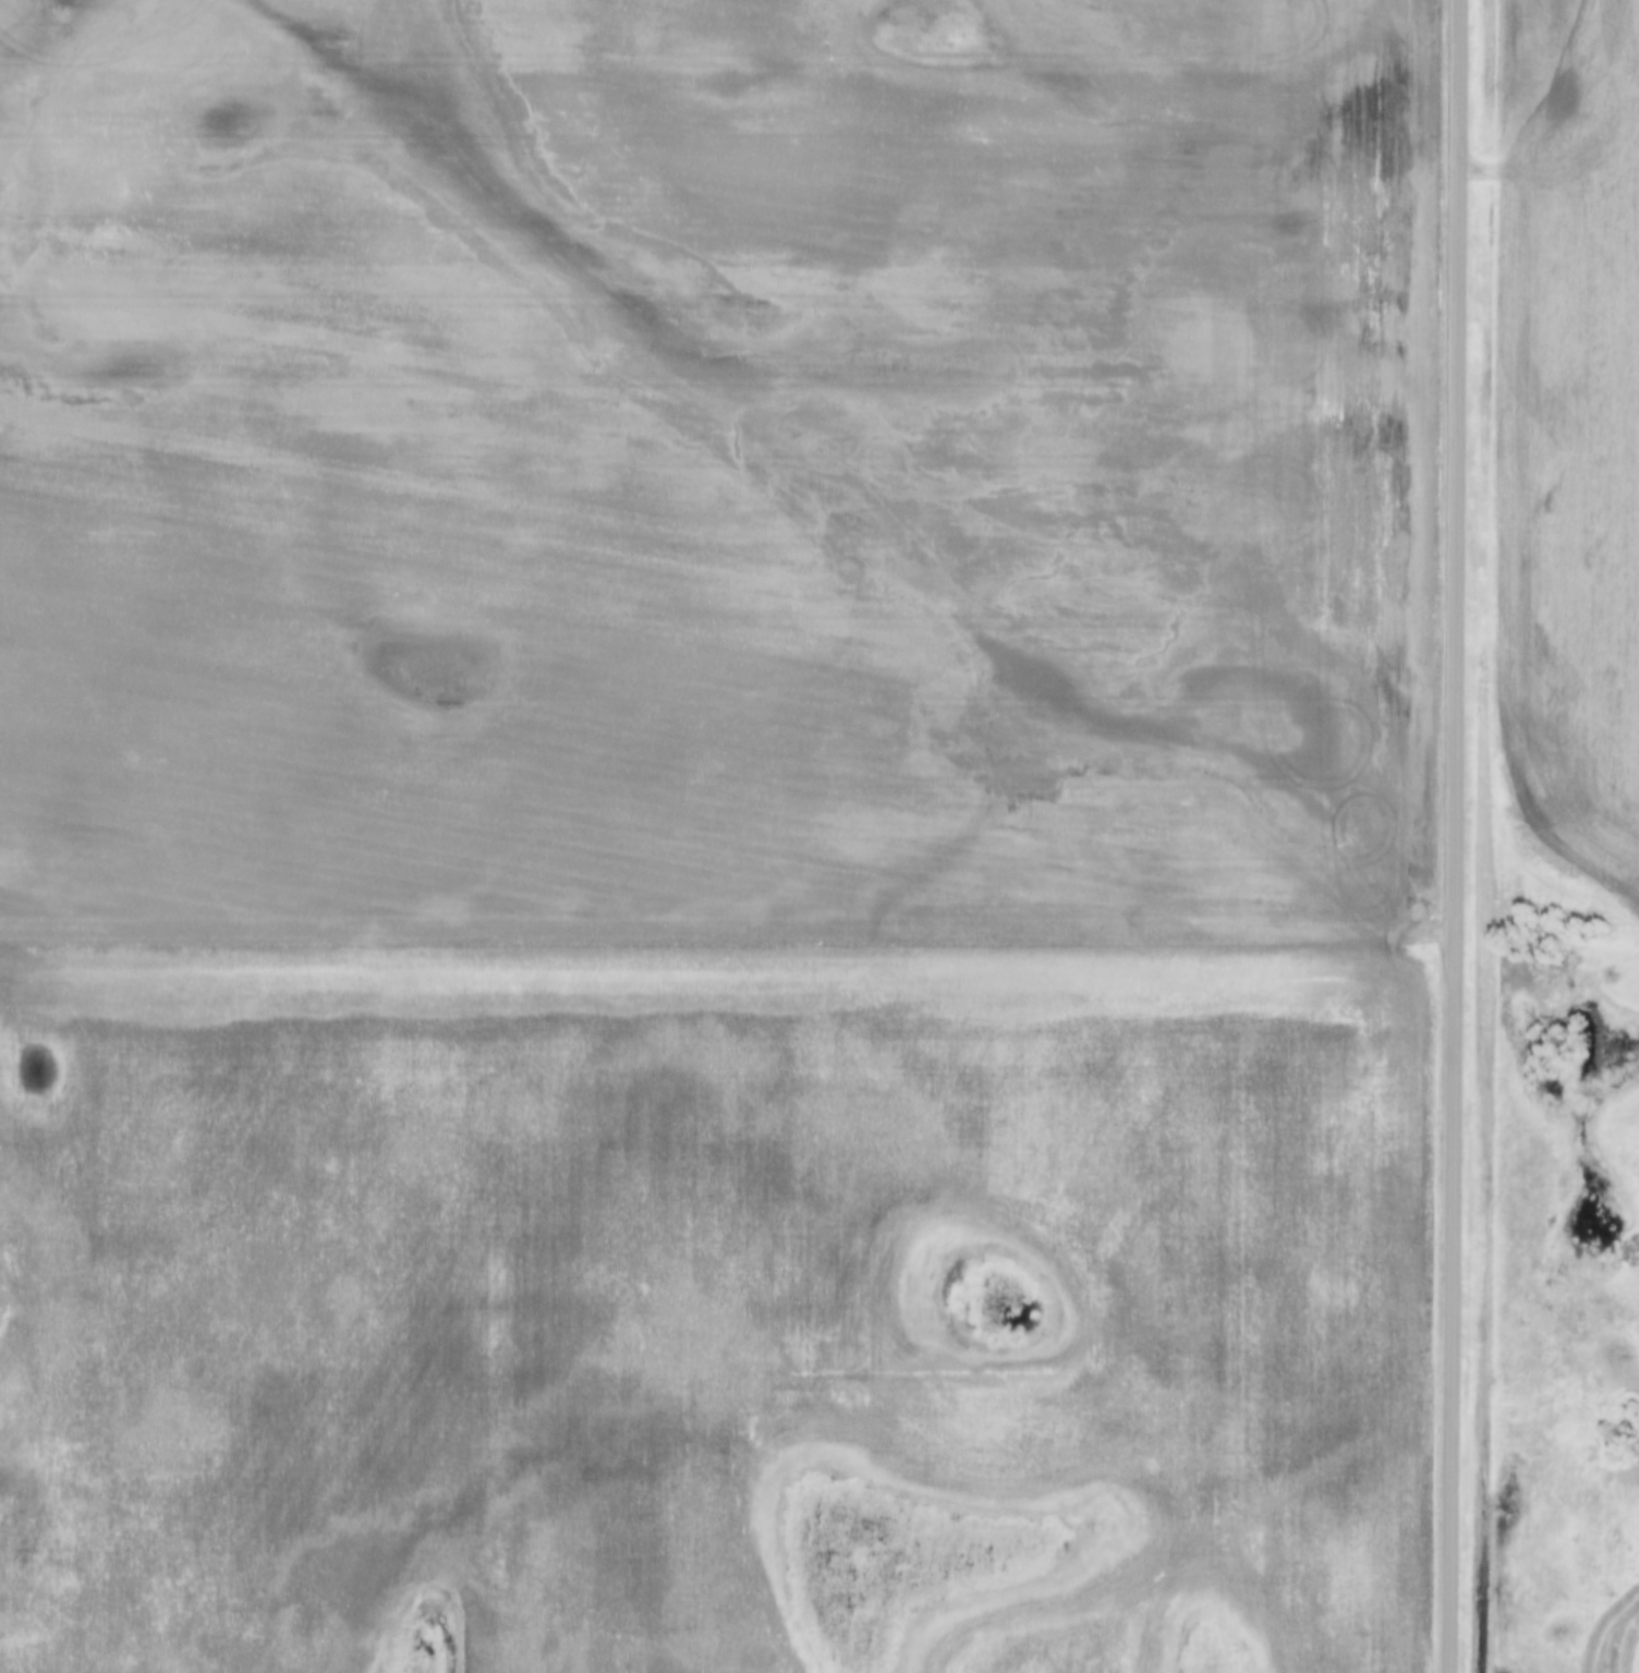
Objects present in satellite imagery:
road: (1458, 836)

